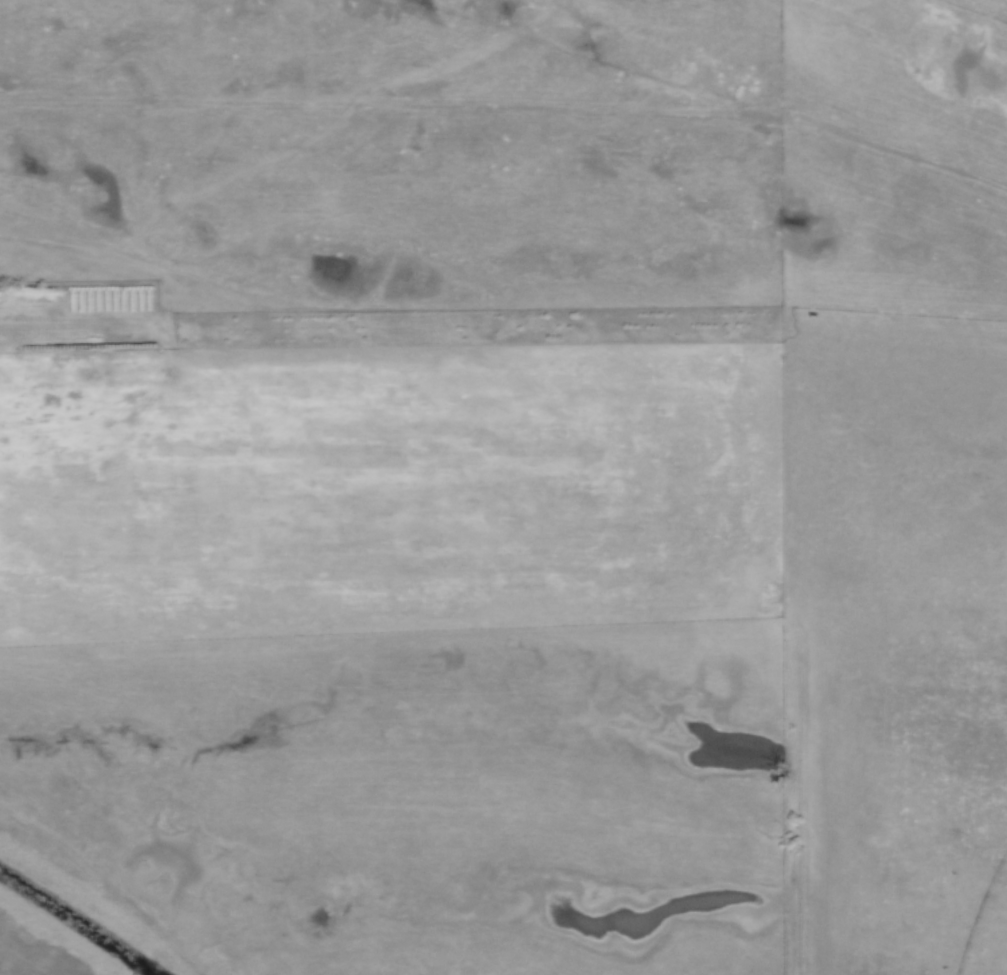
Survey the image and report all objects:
building: (938, 585)

